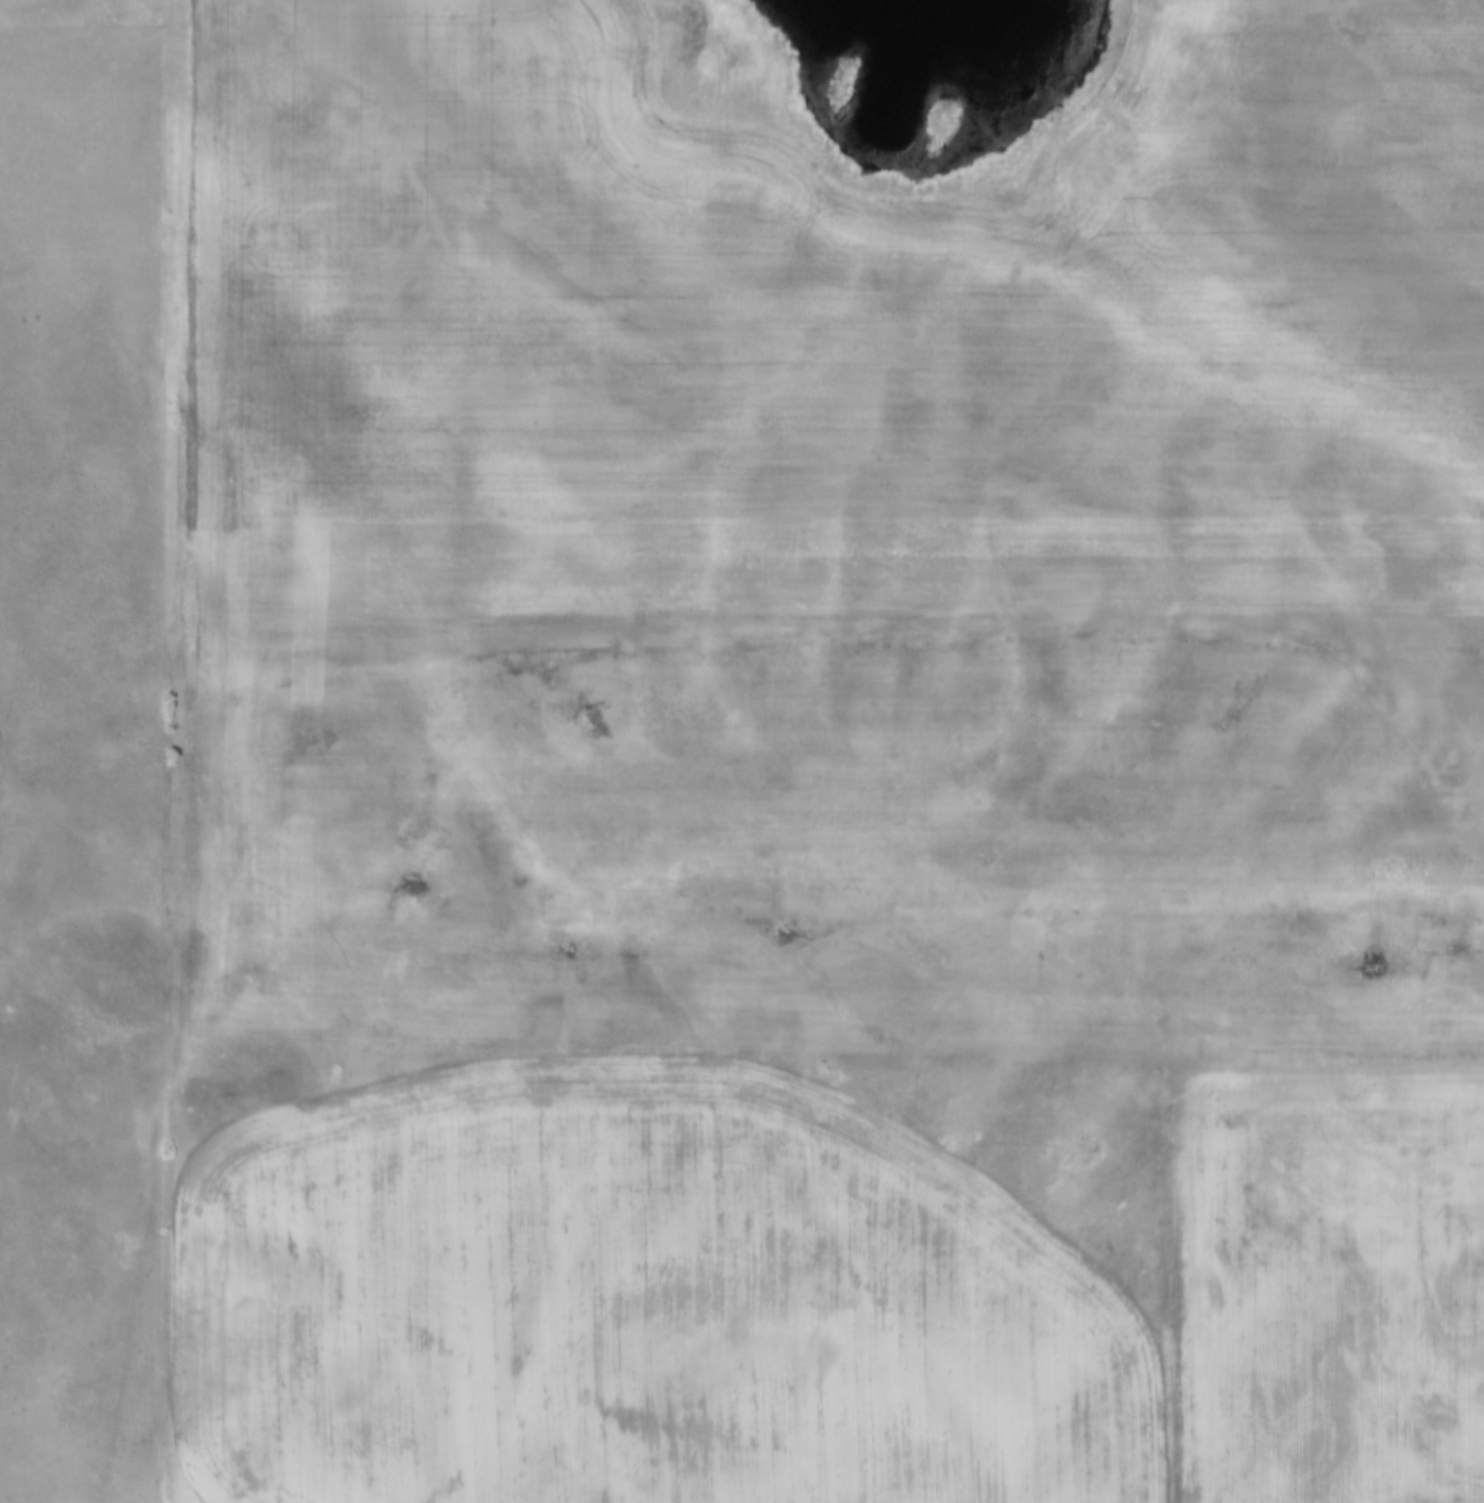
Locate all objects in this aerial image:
road: (175, 751)
road: (826, 1033)

